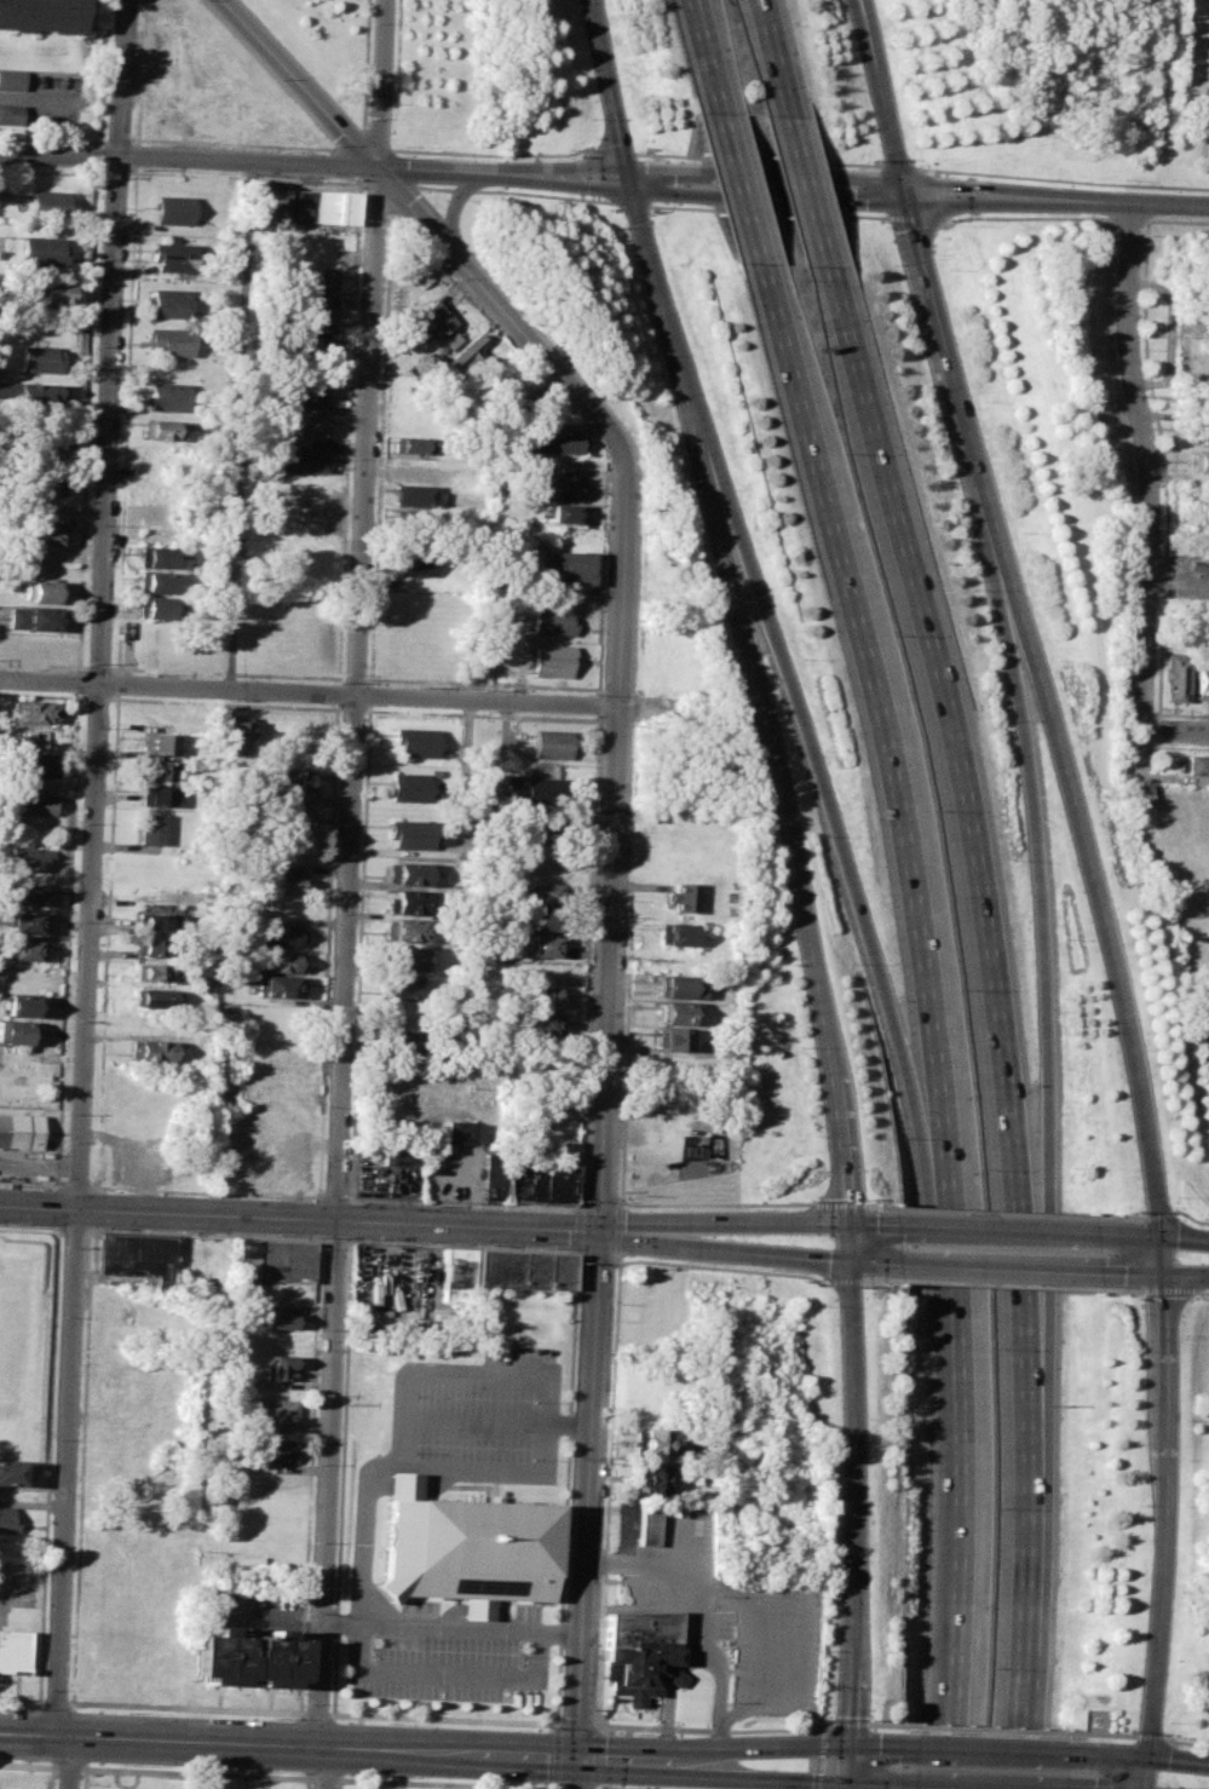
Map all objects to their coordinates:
building: (36, 15)
road: (713, 56)
road: (781, 57)
road: (362, 63)
road: (102, 73)
road: (122, 77)
street lamp: (270, 77)
building: (11, 79)
park: (339, 79)
street lamp: (108, 80)
road: (378, 85)
park: (1055, 91)
parking lot: (39, 98)
building: (10, 114)
street lamp: (365, 119)
road: (345, 137)
road: (52, 138)
road: (117, 140)
road: (230, 143)
street lamp: (329, 144)
road: (359, 149)
road: (491, 151)
road: (620, 153)
road: (99, 155)
road: (768, 157)
road: (919, 165)
street lamp: (76, 168)
street lamp: (138, 168)
street lamp: (237, 174)
road: (600, 176)
road: (604, 176)
traffic signals: (638, 177)
road: (1077, 179)
road: (411, 184)
road: (748, 186)
road: (813, 188)
road: (461, 189)
road: (547, 192)
traffic signals: (915, 192)
road: (950, 192)
road: (640, 202)
building: (50, 203)
building: (304, 205)
road: (451, 207)
building: (172, 209)
road: (781, 209)
street lamp: (395, 214)
road: (1032, 217)
street lamp: (361, 218)
road: (926, 218)
road: (1132, 218)
road: (426, 225)
building: (40, 251)
building: (173, 255)
building: (416, 276)
building: (316, 277)
street lamp: (449, 278)
building: (54, 292)
building: (313, 301)
building: (168, 303)
building: (432, 318)
building: (311, 323)
road: (1169, 332)
building: (171, 339)
building: (449, 339)
building: (311, 346)
building: (465, 352)
building: (38, 358)
building: (305, 392)
building: (40, 393)
building: (168, 396)
building: (1203, 403)
road: (88, 419)
street lamp: (581, 420)
building: (309, 424)
road: (237, 426)
building: (165, 428)
building: (1201, 432)
building: (48, 441)
building: (562, 441)
building: (414, 444)
building: (304, 461)
road: (1162, 461)
building: (1201, 461)
road: (1146, 465)
building: (45, 481)
building: (560, 489)
building: (416, 494)
building: (301, 501)
building: (564, 511)
building: (415, 523)
street lamp: (643, 530)
building: (45, 531)
building: (155, 556)
building: (416, 562)
building: (564, 566)
building: (155, 581)
building: (41, 591)
building: (154, 606)
road: (739, 609)
building: (33, 619)
building: (553, 620)
street lamp: (640, 623)
building: (552, 661)
building: (1175, 677)
road: (79, 681)
building: (1202, 683)
road: (344, 695)
road: (353, 708)
building: (34, 709)
road: (368, 709)
road: (483, 714)
street lamp: (634, 724)
road: (1174, 731)
building: (237, 732)
building: (415, 742)
building: (159, 743)
building: (552, 744)
road: (1139, 761)
building: (1196, 763)
building: (31, 764)
building: (156, 769)
building: (293, 780)
building: (409, 786)
building: (543, 790)
building: (155, 795)
building: (27, 799)
street lamp: (632, 800)
building: (288, 815)
building: (149, 828)
road: (111, 829)
building: (411, 833)
building: (286, 842)
building: (27, 858)
road: (1087, 868)
building: (408, 873)
building: (283, 882)
road: (852, 882)
building: (546, 892)
building: (24, 893)
building: (683, 896)
street lamp: (627, 899)
building: (409, 902)
building: (548, 919)
building: (22, 921)
building: (159, 921)
building: (405, 930)
building: (674, 933)
building: (283, 936)
road: (68, 939)
road: (87, 944)
building: (157, 947)
building: (546, 947)
road: (1040, 947)
building: (21, 949)
building: (405, 957)
building: (282, 961)
building: (155, 972)
road: (344, 980)
building: (678, 985)
building: (280, 986)
building: (405, 986)
street lamp: (624, 990)
building: (543, 996)
building: (156, 997)
building: (18, 1005)
building: (673, 1011)
road: (935, 1017)
road: (998, 1017)
building: (541, 1024)
building: (13, 1031)
road: (624, 1037)
building: (670, 1037)
building: (405, 1041)
building: (155, 1051)
street lamp: (621, 1092)
building: (301, 1095)
road: (603, 1122)
building: (19, 1129)
building: (462, 1131)
street lamp: (67, 1140)
building: (299, 1150)
building: (397, 1151)
street lamp: (326, 1158)
street lamp: (1073, 1167)
building: (491, 1177)
building: (543, 1179)
road: (31, 1184)
road: (77, 1186)
street lamp: (617, 1190)
road: (207, 1191)
street lamp: (1170, 1195)
road: (335, 1197)
street lamp: (784, 1200)
road: (465, 1203)
road: (712, 1203)
road: (833, 1203)
road: (58, 1206)
road: (875, 1206)
road: (990, 1210)
street lamp: (1123, 1210)
road: (1152, 1214)
road: (1113, 1216)
road: (1186, 1216)
road: (299, 1218)
road: (721, 1220)
street lamp: (16, 1223)
traffic signals: (847, 1224)
road: (30, 1225)
road: (58, 1225)
road: (875, 1225)
road: (74, 1226)
street lamp: (96, 1226)
road: (575, 1226)
road: (616, 1229)
road: (1000, 1229)
street lamp: (185, 1231)
road: (1123, 1231)
traffic signals: (599, 1232)
traffic signals: (1151, 1232)
road: (205, 1233)
street lamp: (269, 1235)
road: (1180, 1235)
road: (336, 1238)
street lamp: (372, 1238)
street lamp: (479, 1243)
road: (464, 1244)
street lamp: (62, 1246)
street lamp: (540, 1246)
street lamp: (322, 1247)
road: (574, 1248)
road: (597, 1252)
road: (722, 1252)
building: (136, 1253)
road: (616, 1259)
building: (286, 1260)
building: (247, 1262)
traffic signals: (847, 1265)
road: (870, 1265)
street lamp: (679, 1266)
building: (499, 1267)
road: (992, 1267)
building: (532, 1269)
building: (558, 1270)
road: (1122, 1272)
building: (459, 1273)
road: (1180, 1273)
traffic signals: (1152, 1275)
road: (875, 1278)
road: (841, 1279)
street lamp: (877, 1283)
road: (992, 1283)
road: (1113, 1288)
road: (1164, 1289)
road: (1199, 1292)
street lamp: (1208, 1296)
street lamp: (824, 1304)
building: (281, 1321)
street lamp: (1180, 1334)
building: (278, 1367)
road: (473, 1374)
road: (611, 1386)
building: (131, 1398)
building: (274, 1410)
parking lot: (476, 1417)
road: (566, 1422)
street lamp: (828, 1431)
building: (647, 1442)
building: (272, 1449)
street lamp: (1184, 1459)
road: (48, 1463)
road: (403, 1463)
road: (82, 1466)
building: (119, 1466)
building: (10, 1472)
road: (310, 1476)
road: (341, 1476)
building: (647, 1478)
road: (566, 1486)
building: (121, 1491)
road: (853, 1506)
building: (7, 1519)
building: (647, 1523)
road: (363, 1530)
building: (464, 1547)
road: (683, 1547)
street lamp: (829, 1559)
road: (679, 1571)
street lamp: (1181, 1592)
parking lot: (724, 1606)
road: (341, 1623)
road: (560, 1630)
road: (794, 1636)
road: (753, 1646)
building: (13, 1651)
building: (639, 1653)
parking lot: (450, 1655)
building: (247, 1657)
road: (535, 1674)
street lamp: (825, 1686)
road: (719, 1689)
road: (21, 1701)
road: (56, 1702)
road: (892, 1703)
street lamp: (22, 1705)
road: (186, 1707)
street lamp: (597, 1708)
street lamp: (128, 1710)
road: (1094, 1712)
road: (317, 1713)
road: (301, 1715)
street lamp: (275, 1716)
road: (444, 1718)
road: (666, 1720)
street lamp: (812, 1720)
street lamp: (388, 1721)
road: (850, 1721)
street lamp: (1169, 1721)
road: (885, 1722)
road: (559, 1726)
street lamp: (549, 1727)
road: (992, 1727)
road: (713, 1728)
street lamp: (912, 1730)
street lamp: (610, 1731)
road: (1109, 1732)
street lamp: (637, 1733)
road: (1148, 1735)
street lamp: (1075, 1736)
road: (1185, 1741)
road: (304, 1744)
road: (804, 1744)
traffic signals: (848, 1744)
road: (356, 1748)
road: (991, 1749)
traffic signals: (1144, 1758)
road: (1145, 1758)
street lamp: (23, 1759)
road: (71, 1761)
road: (29, 1765)
street lamp: (128, 1765)
road: (70, 1767)
street lamp: (271, 1771)
road: (197, 1772)
road: (1141, 1773)
street lamp: (385, 1774)
road: (54, 1778)
road: (86, 1778)
road: (326, 1778)
road: (309, 1781)
street lamp: (526, 1781)
road: (804, 1781)
road: (448, 1782)
street lamp: (82, 1783)
road: (340, 1783)
traffic signals: (847, 1783)
street lamp: (604, 1787)
road: (950, 1787)

